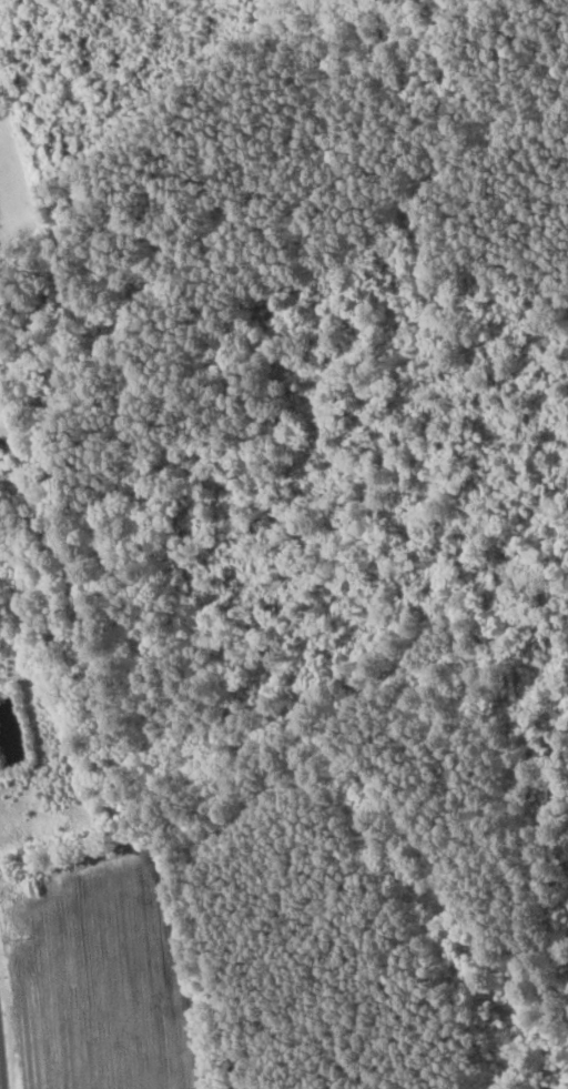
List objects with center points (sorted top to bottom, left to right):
road: (0, 1082)

